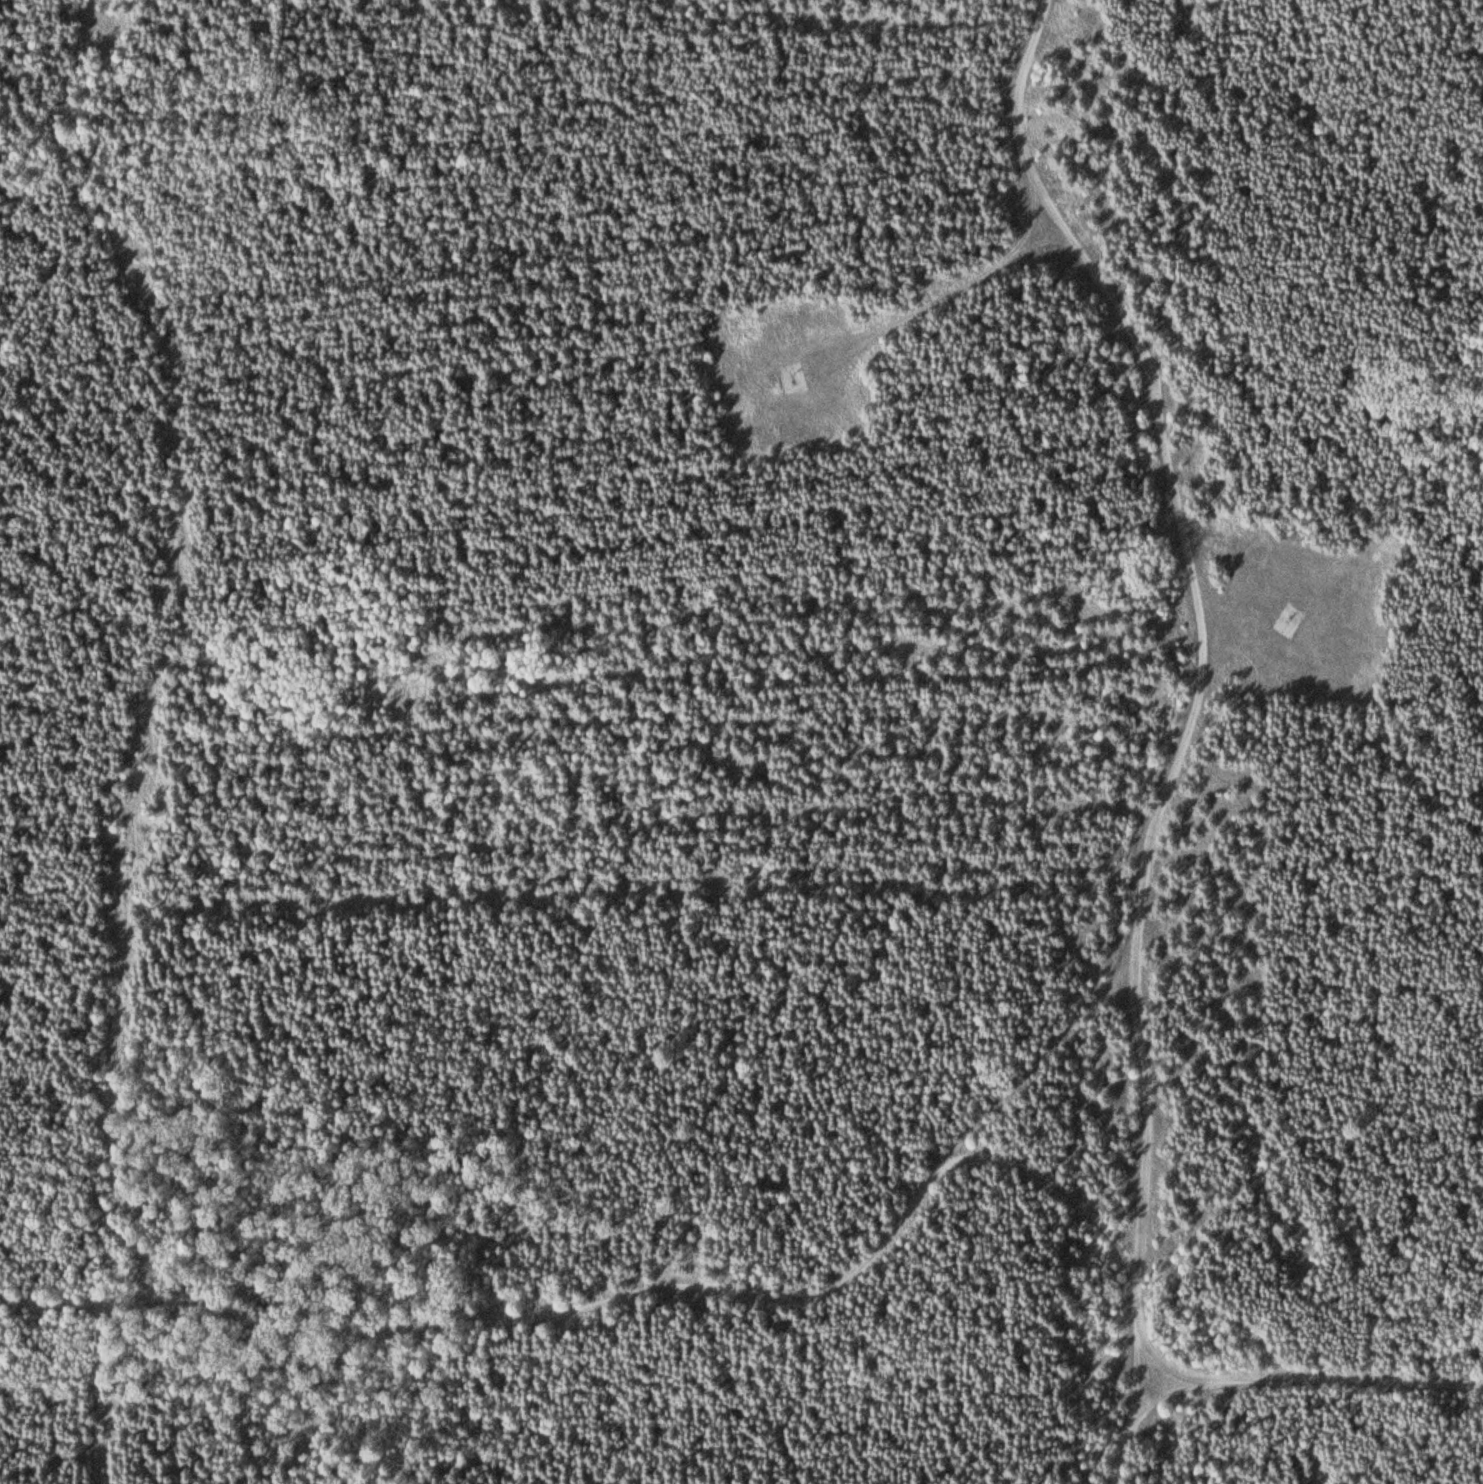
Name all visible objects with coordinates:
road: (961, 280)
road: (1201, 725)
road: (1050, 1058)
road: (624, 1293)
road: (1314, 1378)

